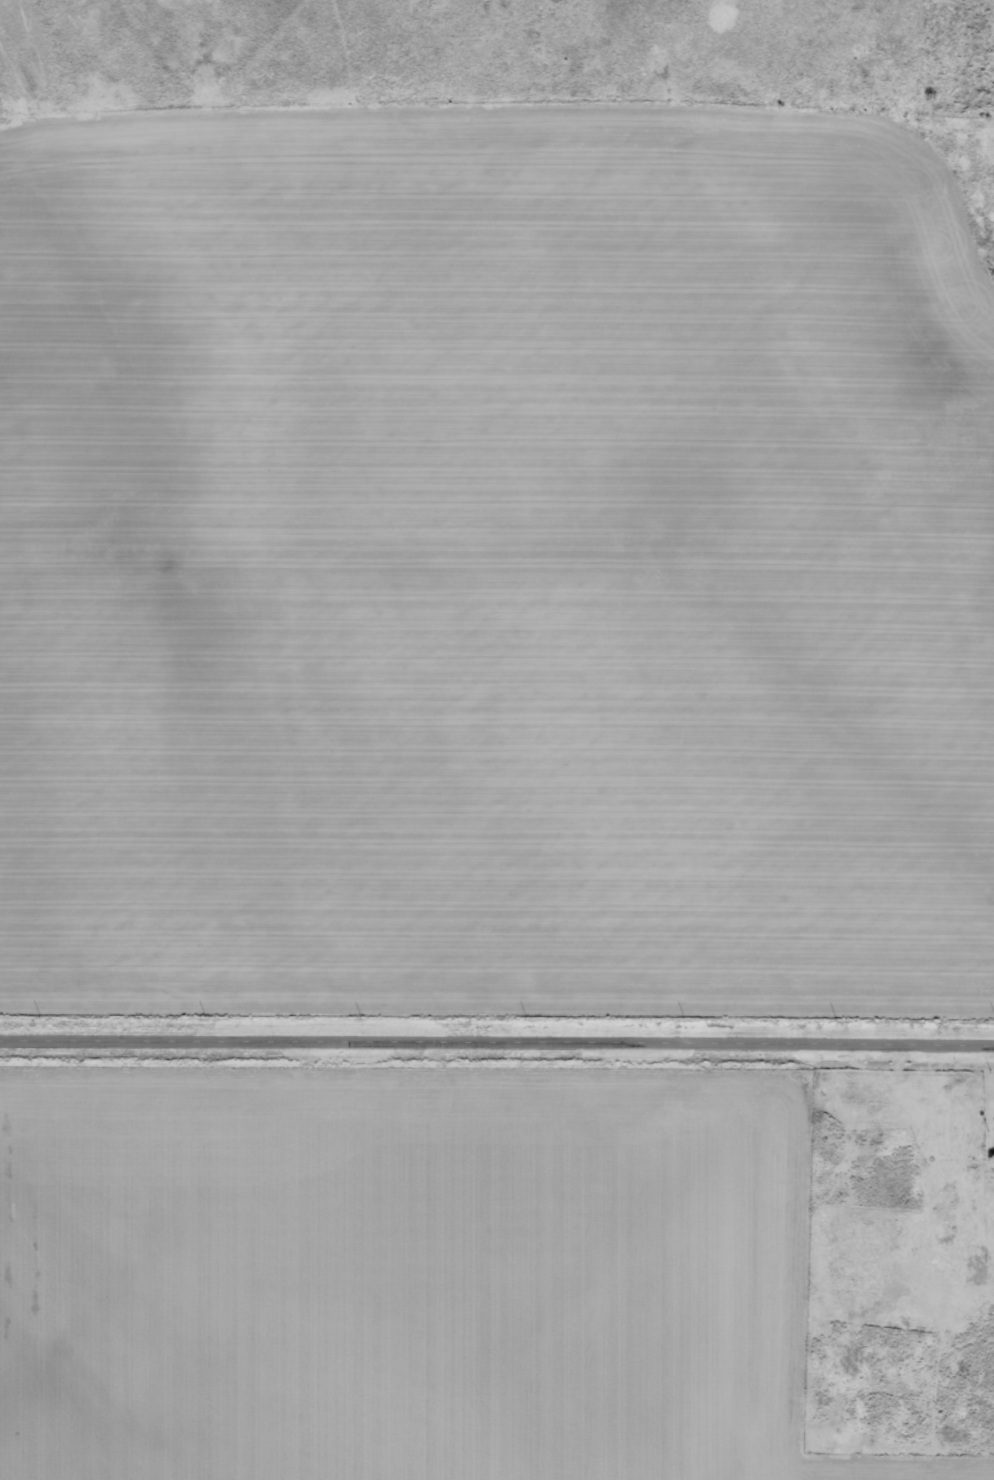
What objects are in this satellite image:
road: (497, 1044)

